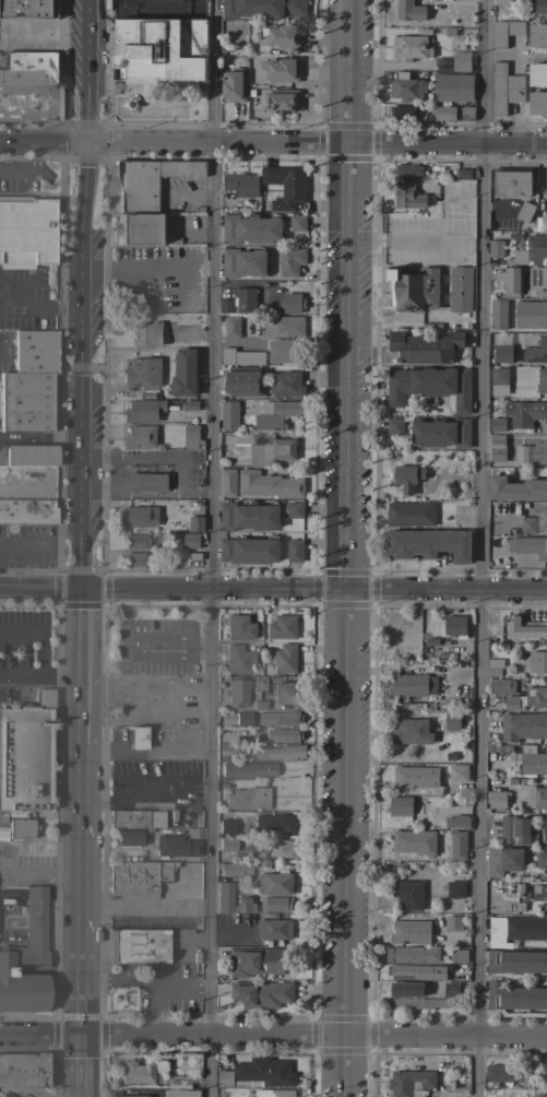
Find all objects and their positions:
building: (502, 2)
building: (540, 7)
building: (264, 8)
building: (29, 9)
building: (411, 10)
building: (506, 32)
building: (538, 35)
building: (282, 37)
building: (414, 46)
building: (160, 49)
building: (32, 59)
building: (462, 61)
building: (282, 70)
building: (28, 74)
building: (537, 74)
building: (234, 84)
building: (406, 87)
building: (453, 87)
building: (504, 89)
building: (28, 99)
building: (282, 101)
park: (160, 103)
building: (537, 103)
building: (402, 113)
building: (443, 113)
building: (467, 114)
road: (43, 142)
road: (317, 143)
building: (408, 170)
building: (464, 174)
building: (449, 178)
building: (150, 181)
building: (511, 181)
building: (240, 185)
building: (287, 186)
building: (545, 190)
building: (408, 196)
building: (525, 212)
building: (542, 220)
building: (298, 223)
building: (140, 228)
building: (251, 229)
building: (27, 232)
building: (496, 248)
building: (536, 248)
building: (518, 252)
building: (290, 261)
building: (243, 262)
road: (151, 272)
building: (538, 280)
building: (511, 282)
building: (414, 290)
building: (461, 290)
road: (81, 293)
parking lot: (28, 297)
building: (239, 302)
building: (293, 303)
building: (544, 311)
building: (233, 327)
building: (147, 333)
building: (284, 338)
building: (425, 347)
building: (37, 351)
building: (536, 352)
building: (501, 354)
building: (241, 357)
building: (143, 374)
building: (185, 374)
building: (499, 380)
building: (243, 381)
building: (542, 381)
building: (286, 385)
building: (430, 386)
building: (25, 401)
building: (191, 405)
building: (143, 410)
building: (521, 413)
building: (545, 413)
building: (276, 414)
building: (229, 415)
building: (498, 425)
building: (394, 426)
building: (441, 433)
building: (140, 437)
building: (192, 437)
road: (40, 438)
building: (497, 440)
building: (266, 448)
building: (532, 453)
building: (28, 455)
building: (406, 477)
building: (147, 482)
building: (228, 483)
building: (269, 484)
building: (516, 488)
building: (295, 509)
building: (27, 510)
building: (409, 515)
building: (249, 516)
building: (139, 517)
building: (545, 520)
building: (195, 524)
building: (528, 524)
building: (135, 540)
building: (191, 541)
building: (429, 544)
building: (528, 546)
road: (209, 547)
road: (343, 547)
road: (478, 547)
road: (31, 548)
building: (249, 550)
building: (295, 551)
building: (134, 558)
road: (40, 586)
traffic signals: (81, 587)
road: (313, 588)
building: (454, 625)
building: (240, 627)
building: (283, 627)
road: (43, 628)
building: (525, 628)
parking lot: (156, 645)
road: (202, 645)
building: (430, 646)
building: (238, 658)
building: (284, 658)
building: (537, 662)
road: (81, 665)
building: (495, 667)
road: (39, 673)
building: (413, 684)
building: (237, 692)
building: (284, 694)
building: (536, 695)
building: (44, 698)
building: (259, 705)
building: (242, 718)
building: (278, 718)
building: (451, 721)
building: (523, 727)
building: (412, 731)
building: (283, 734)
building: (136, 738)
road: (136, 751)
building: (281, 752)
building: (25, 758)
building: (528, 760)
building: (248, 768)
building: (459, 772)
building: (416, 777)
building: (538, 797)
building: (248, 798)
building: (497, 800)
building: (406, 805)
building: (135, 817)
building: (456, 822)
building: (274, 823)
building: (227, 826)
building: (22, 827)
building: (544, 829)
building: (513, 830)
building: (132, 837)
building: (228, 842)
building: (415, 842)
building: (176, 846)
building: (457, 846)
building: (280, 849)
building: (540, 860)
building: (503, 861)
building: (234, 868)
building: (138, 878)
building: (275, 881)
road: (82, 889)
building: (454, 889)
building: (539, 894)
building: (408, 895)
building: (225, 896)
building: (275, 904)
building: (243, 905)
building: (543, 909)
building: (453, 923)
building: (274, 928)
building: (515, 930)
building: (411, 932)
building: (13, 935)
building: (139, 945)
building: (411, 955)
building: (460, 956)
building: (26, 959)
building: (255, 962)
building: (516, 962)
building: (416, 972)
building: (406, 989)
building: (451, 990)
building: (261, 993)
building: (514, 998)
building: (121, 1000)
building: (416, 1003)
road: (41, 1034)
road: (314, 1034)
road: (207, 1050)
road: (82, 1065)
building: (23, 1069)
building: (138, 1072)
building: (48, 1074)
building: (258, 1074)
building: (499, 1074)
building: (409, 1082)
building: (185, 1093)
building: (271, 1093)
building: (128, 1096)
building: (539, 1096)

